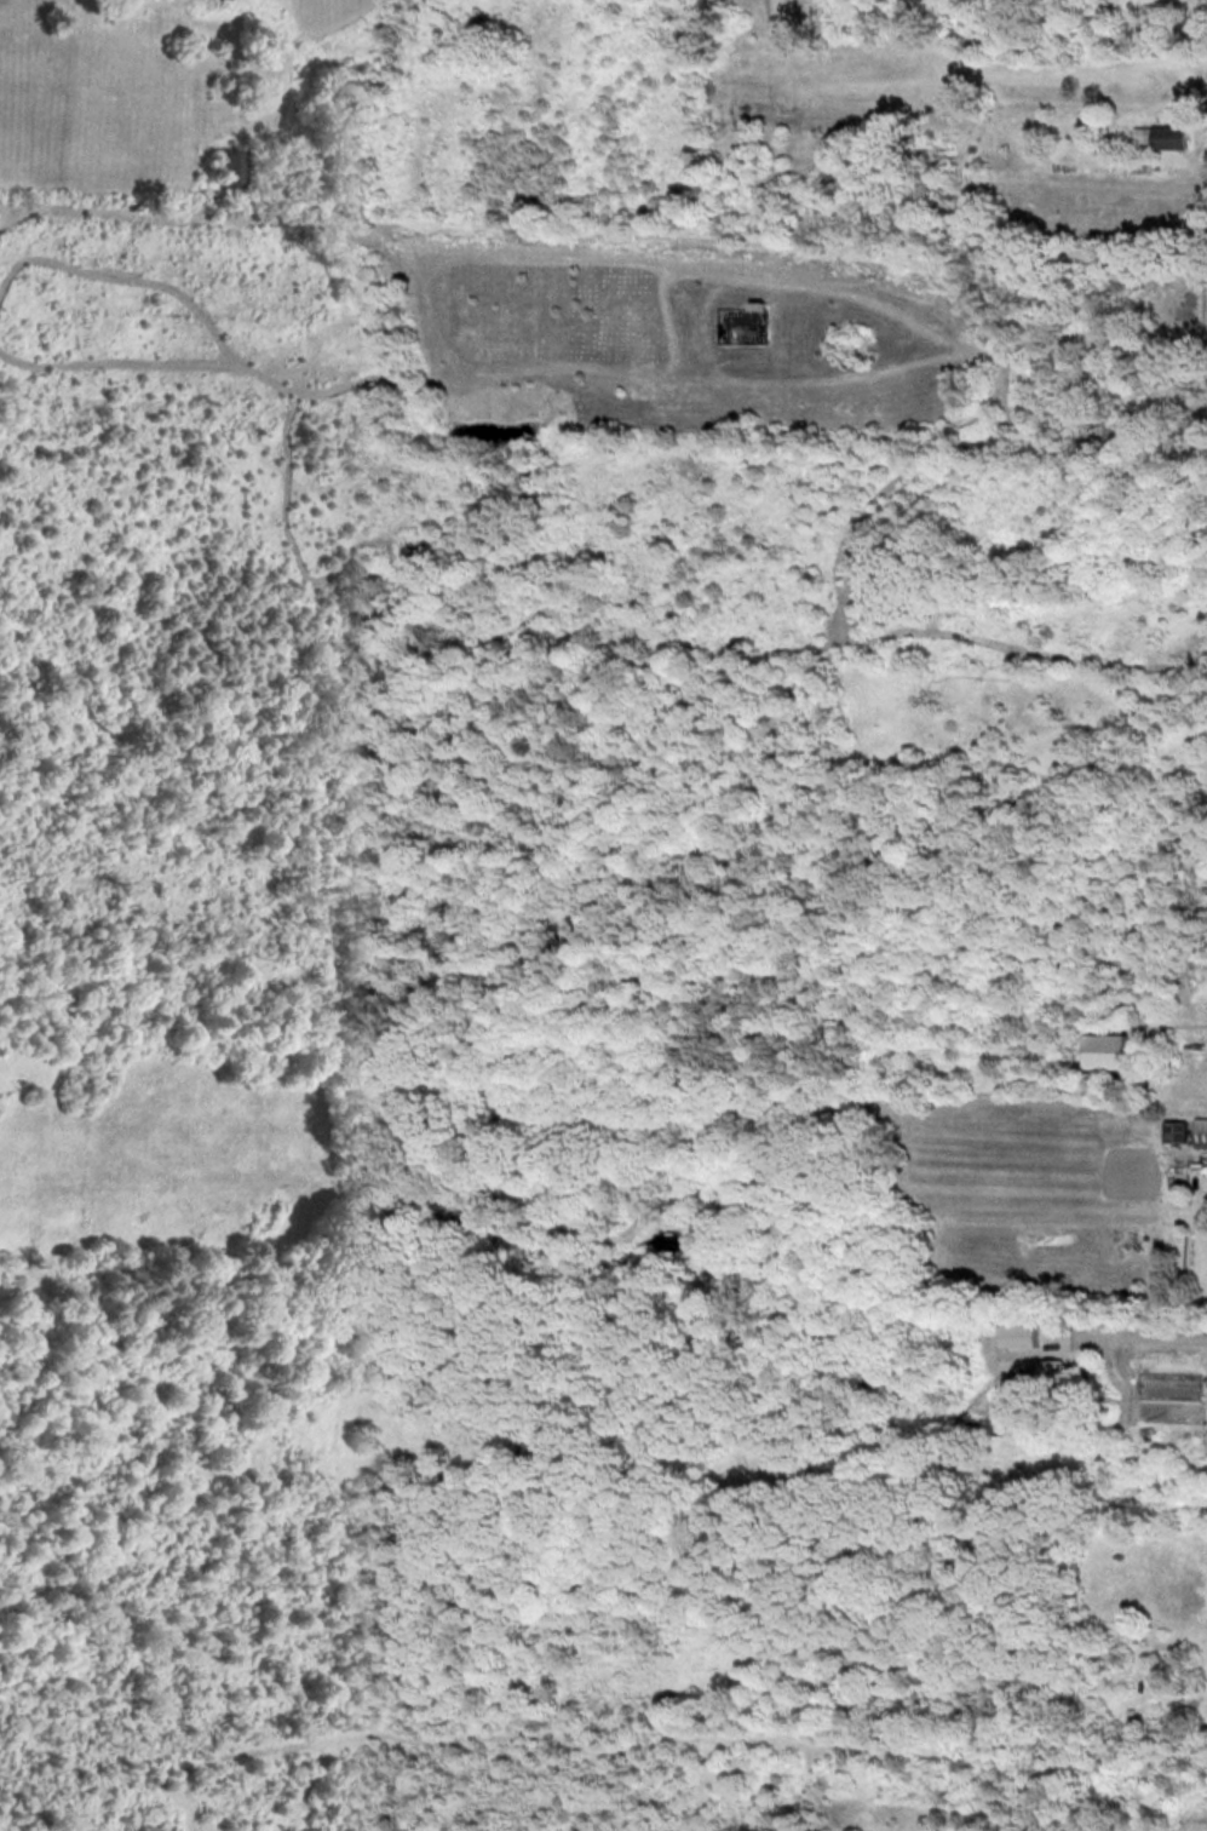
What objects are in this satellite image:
building: (1157, 139)
building: (230, 171)
building: (1174, 1135)
building: (1200, 1136)
building: (1017, 1338)
road: (1140, 1338)
building: (1051, 1373)

